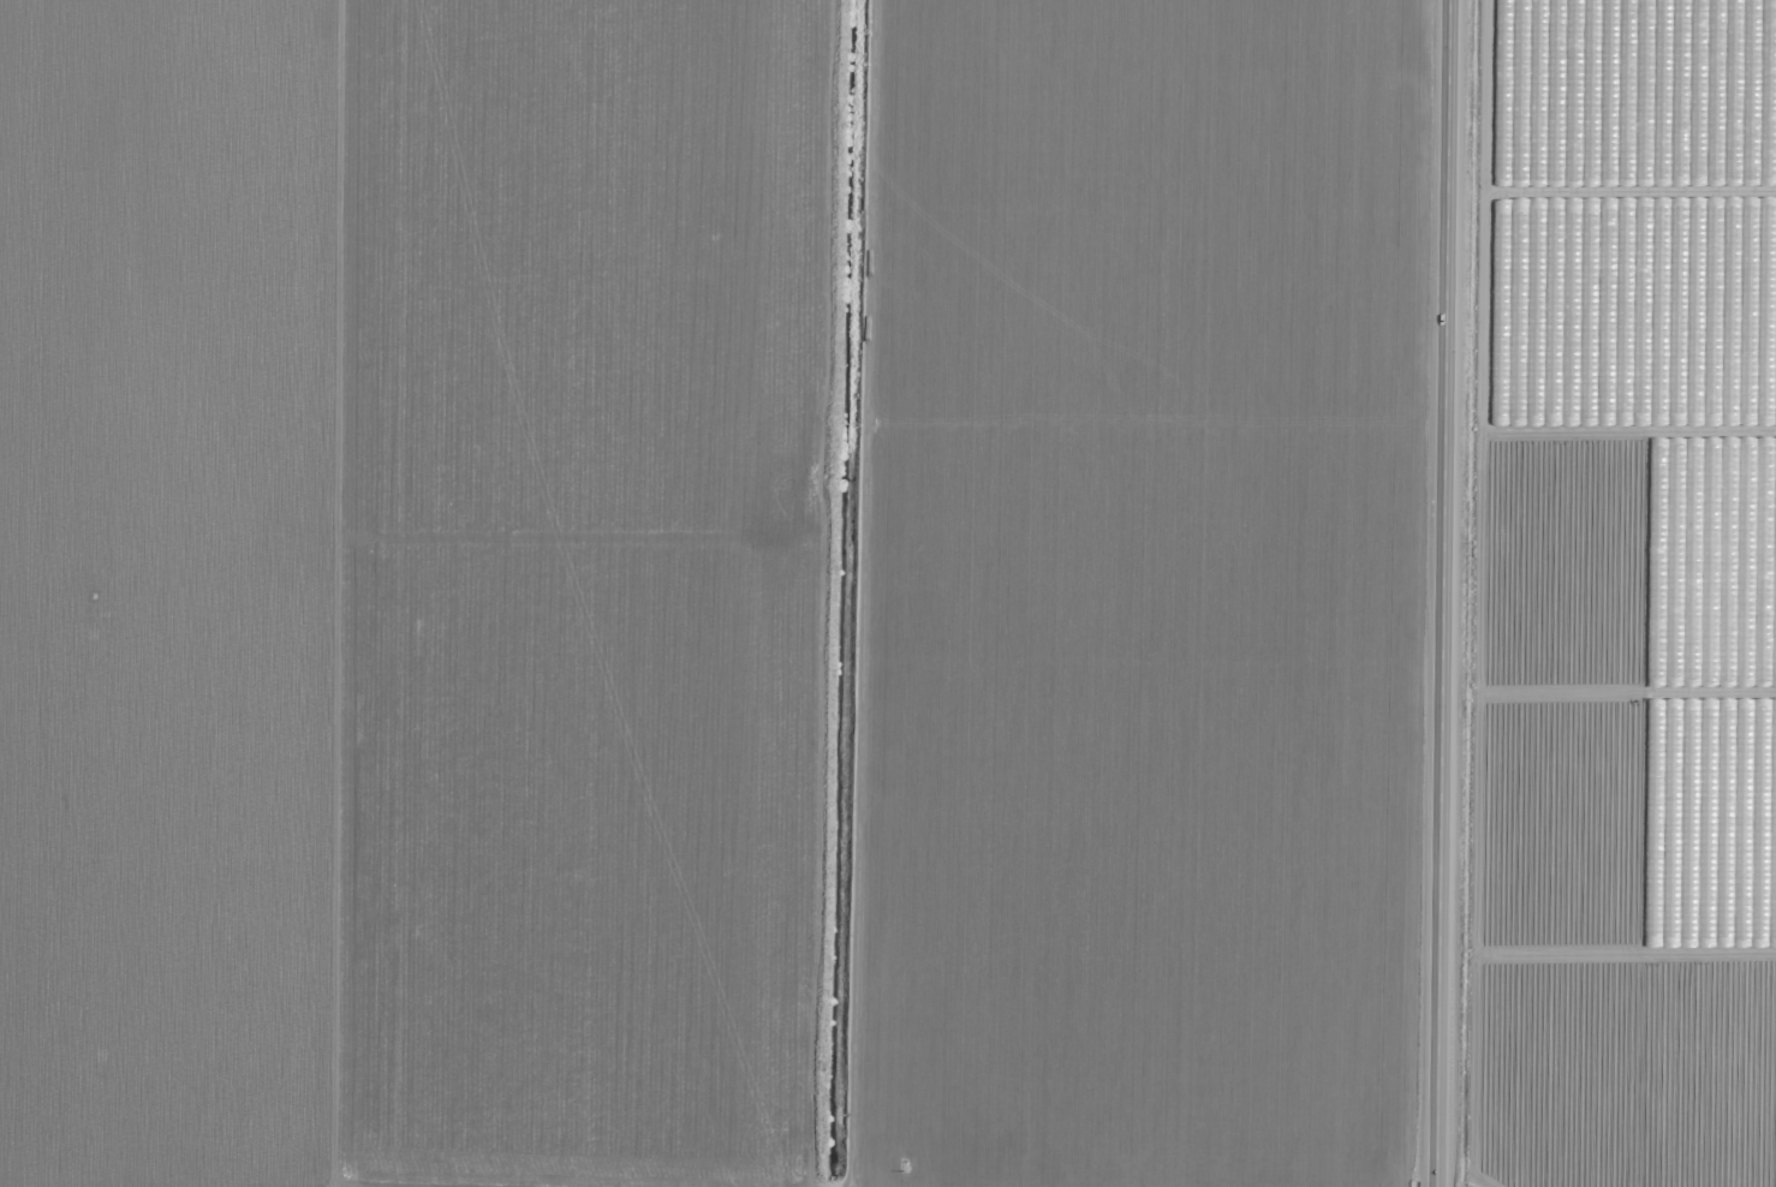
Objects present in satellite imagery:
crop: (714, 592)
road: (1442, 592)
crop: (1623, 597)

